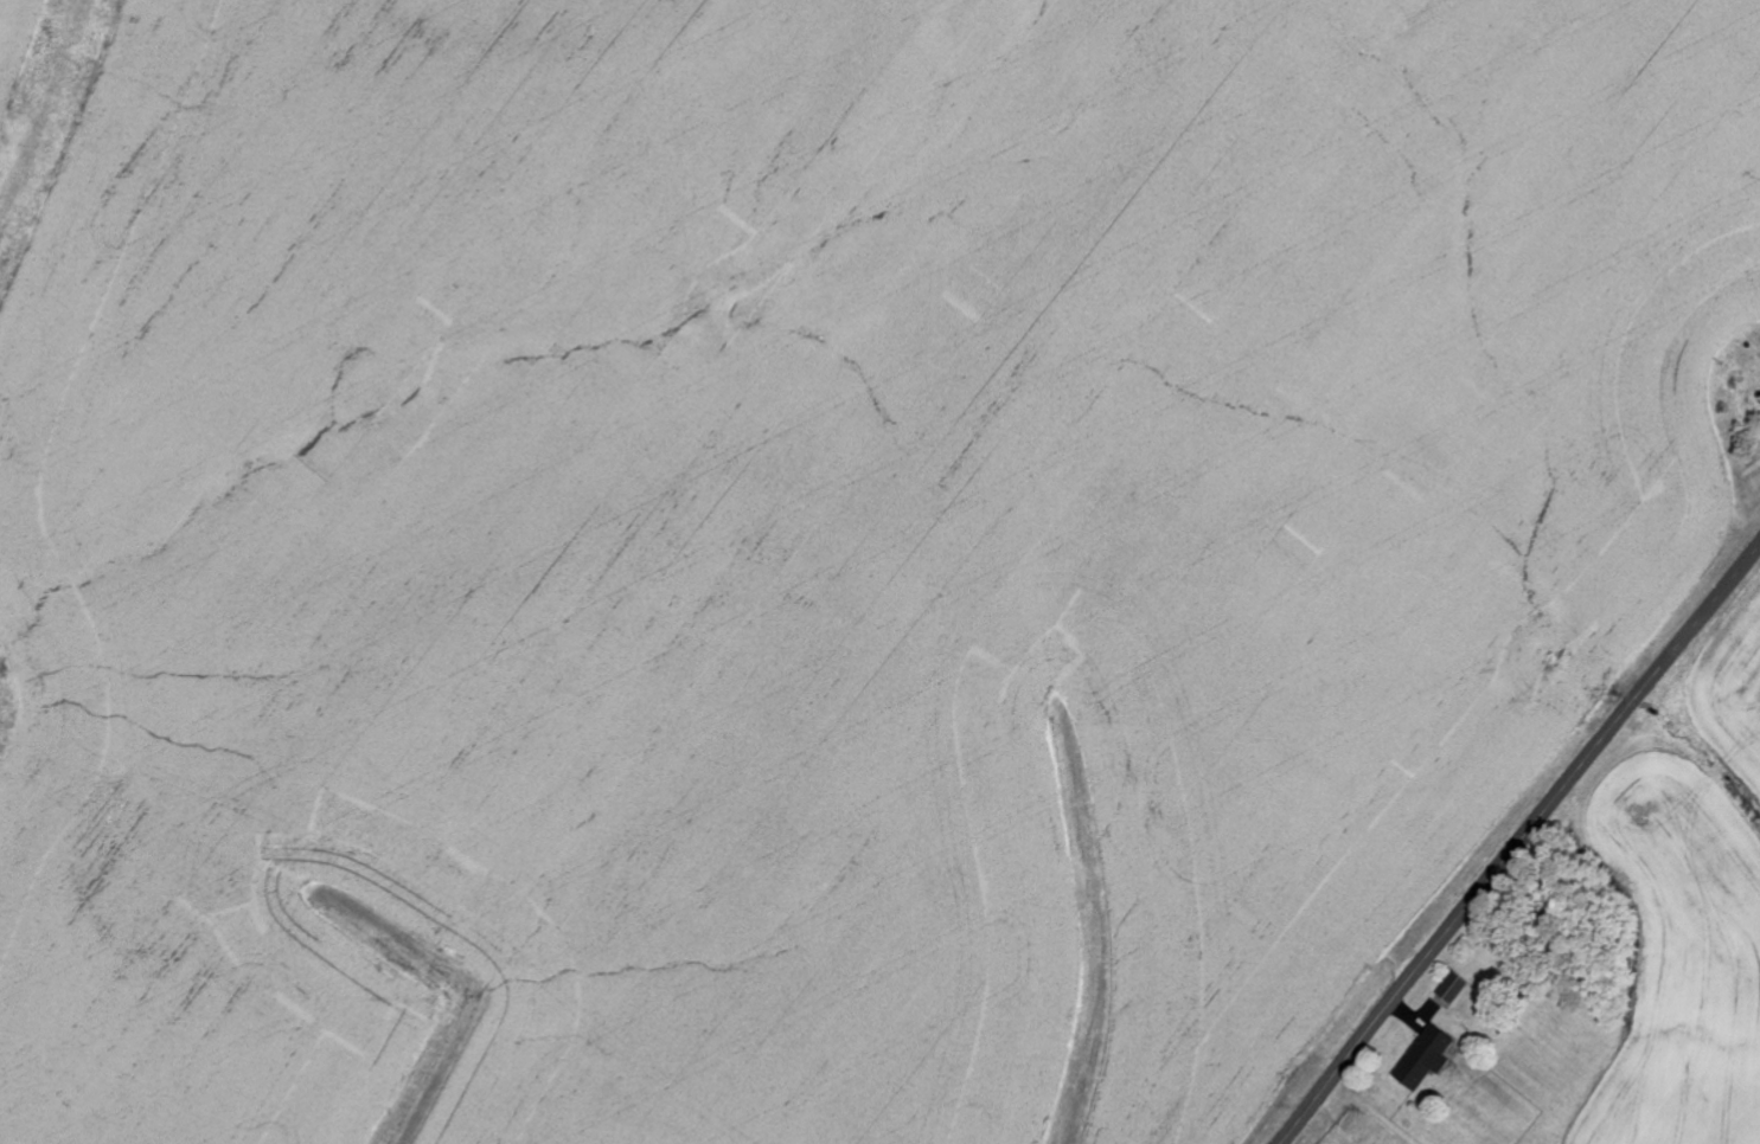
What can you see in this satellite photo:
road: (1518, 843)
building: (1455, 989)
building: (1427, 1059)

